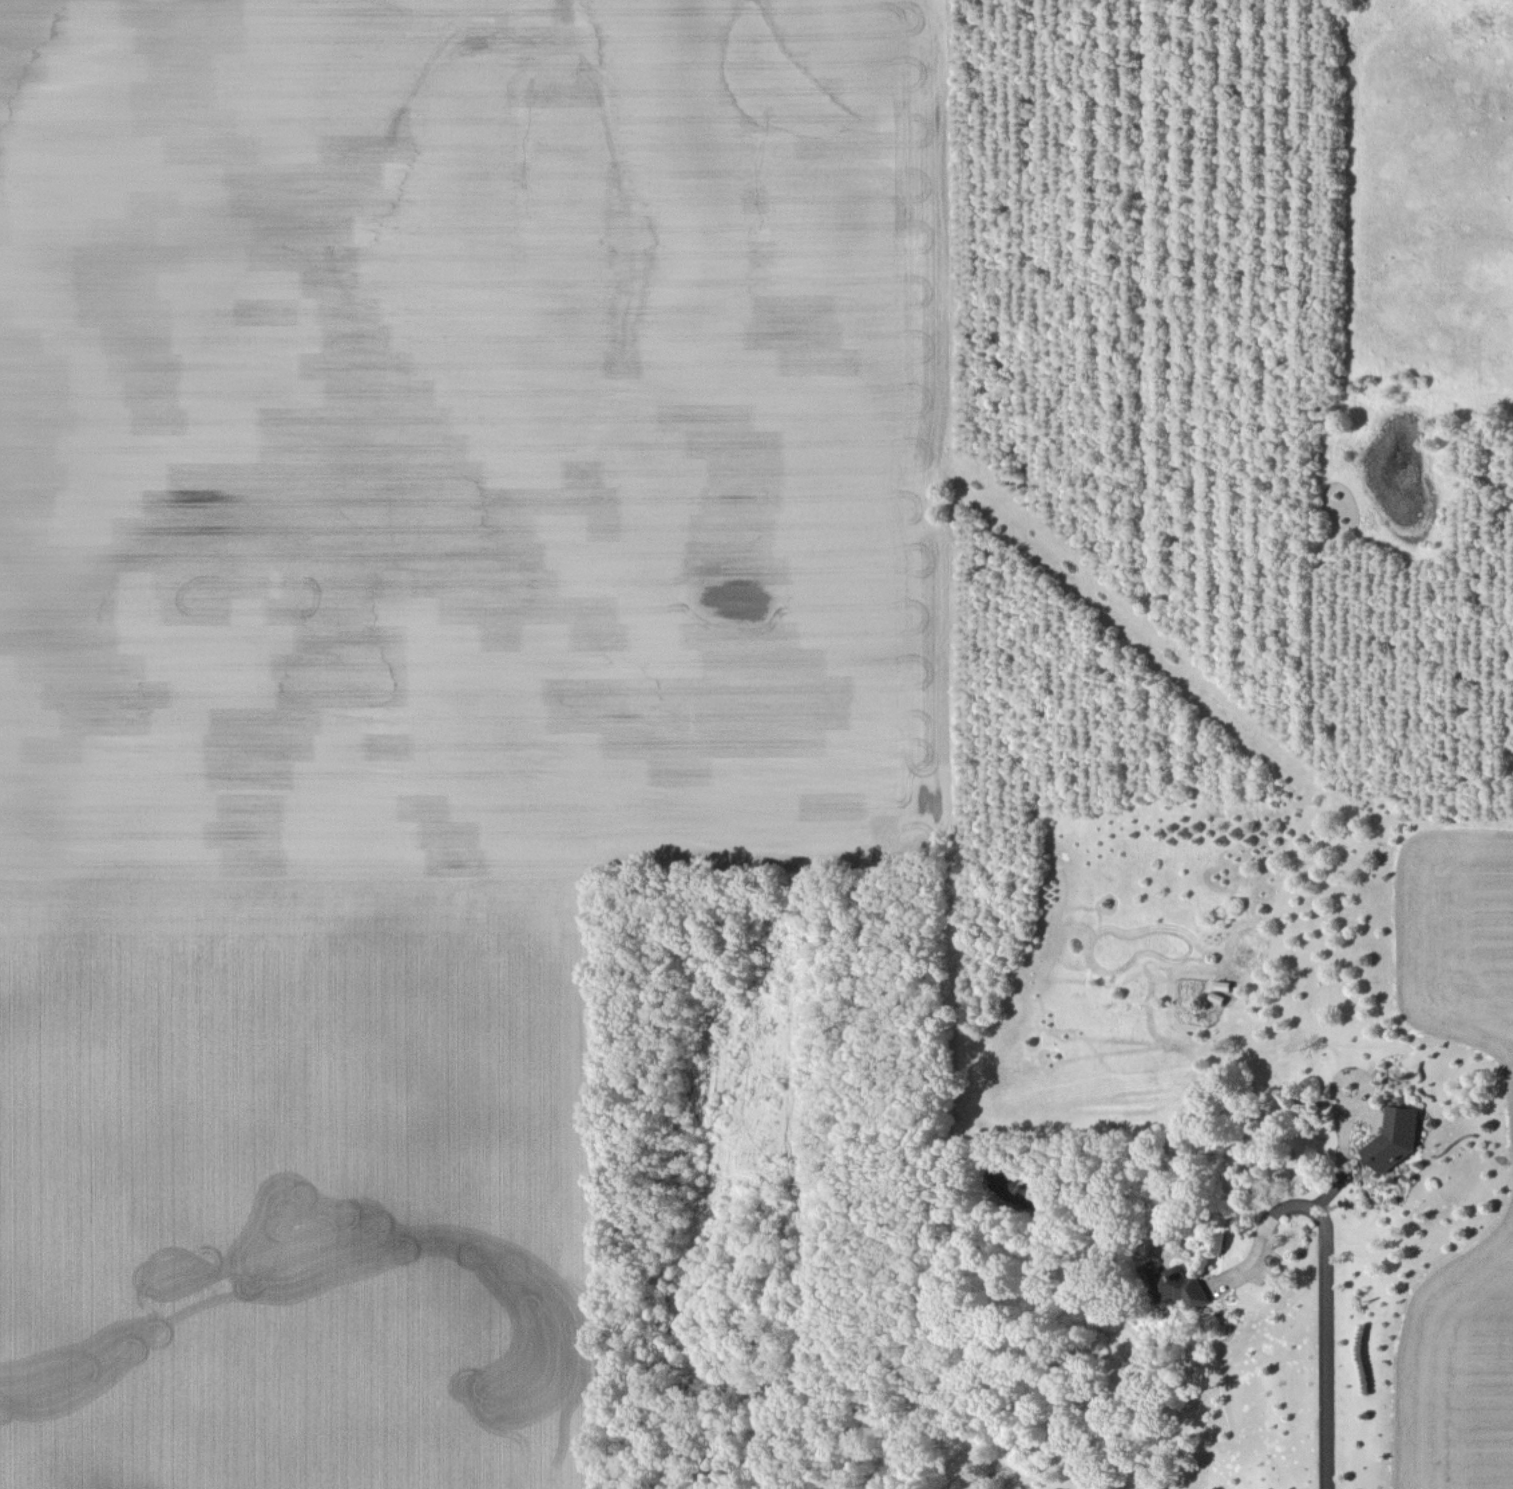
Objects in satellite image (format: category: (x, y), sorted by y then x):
building: (1397, 1141)
road: (1341, 1160)
building: (1181, 1287)
road: (1328, 1298)

